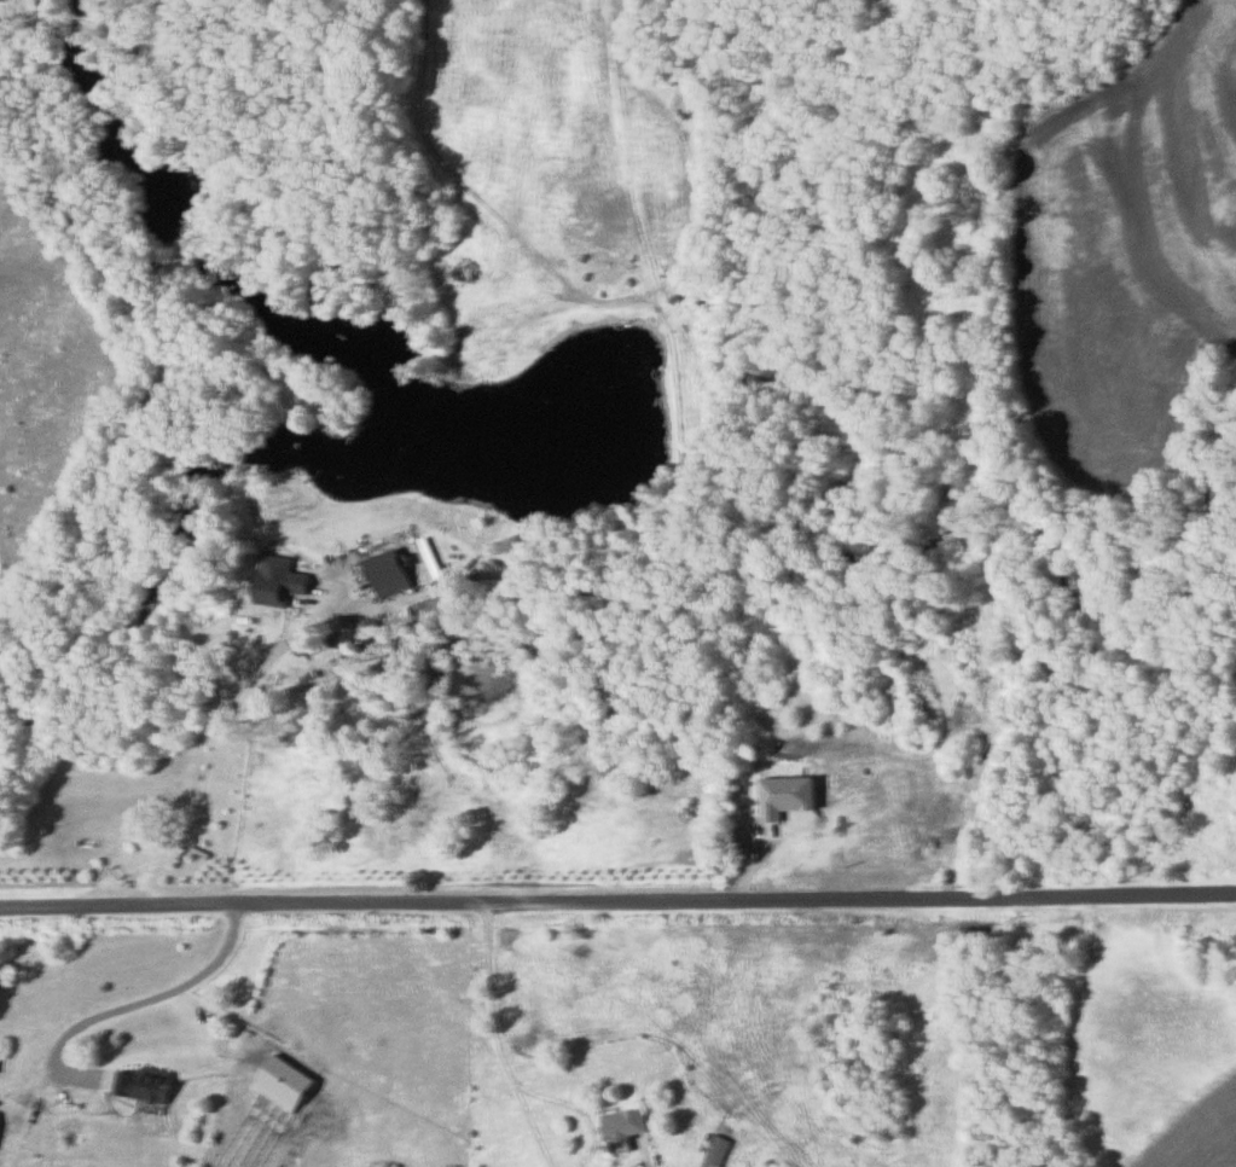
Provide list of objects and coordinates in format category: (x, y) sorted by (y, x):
road: (77, 506)
building: (394, 573)
building: (284, 587)
road: (230, 748)
road: (617, 896)
road: (130, 1005)
road: (504, 1038)
building: (147, 1085)
building: (627, 1125)
road: (642, 1148)
building: (720, 1150)

